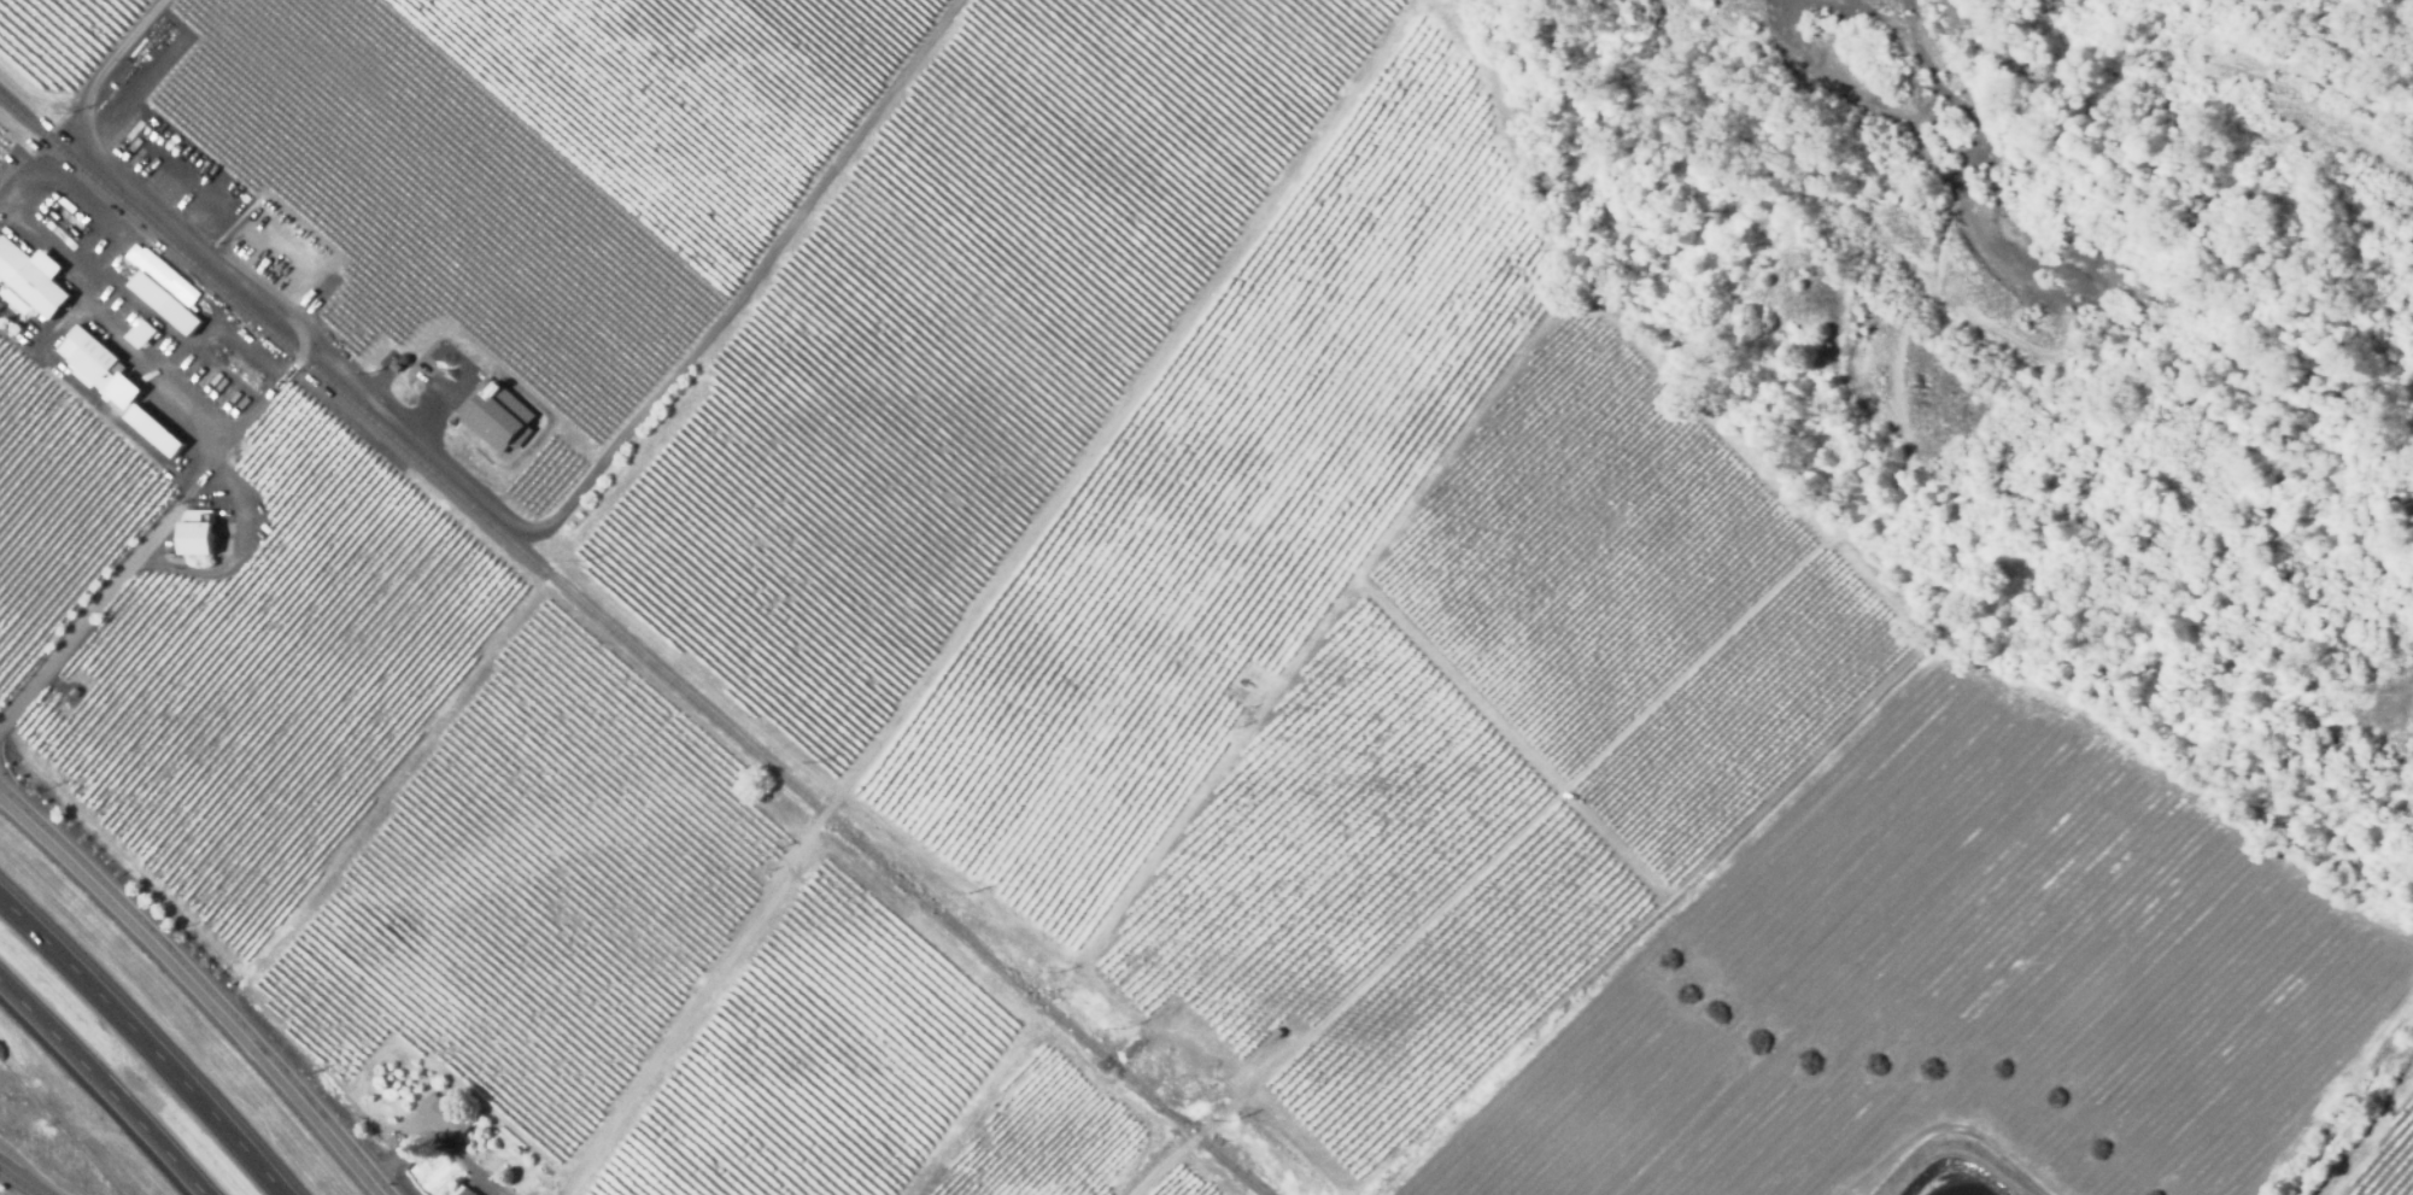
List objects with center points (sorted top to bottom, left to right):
road: (39, 223)
road: (98, 273)
building: (30, 280)
building: (13, 300)
building: (165, 303)
building: (142, 330)
road: (303, 352)
building: (89, 355)
building: (153, 430)
building: (197, 529)
railway: (629, 644)
building: (74, 691)
road: (198, 986)
road: (148, 1039)
road: (104, 1085)
building: (444, 1117)
road: (439, 1138)
railway: (1238, 1172)
road: (22, 1178)
building: (461, 1190)

